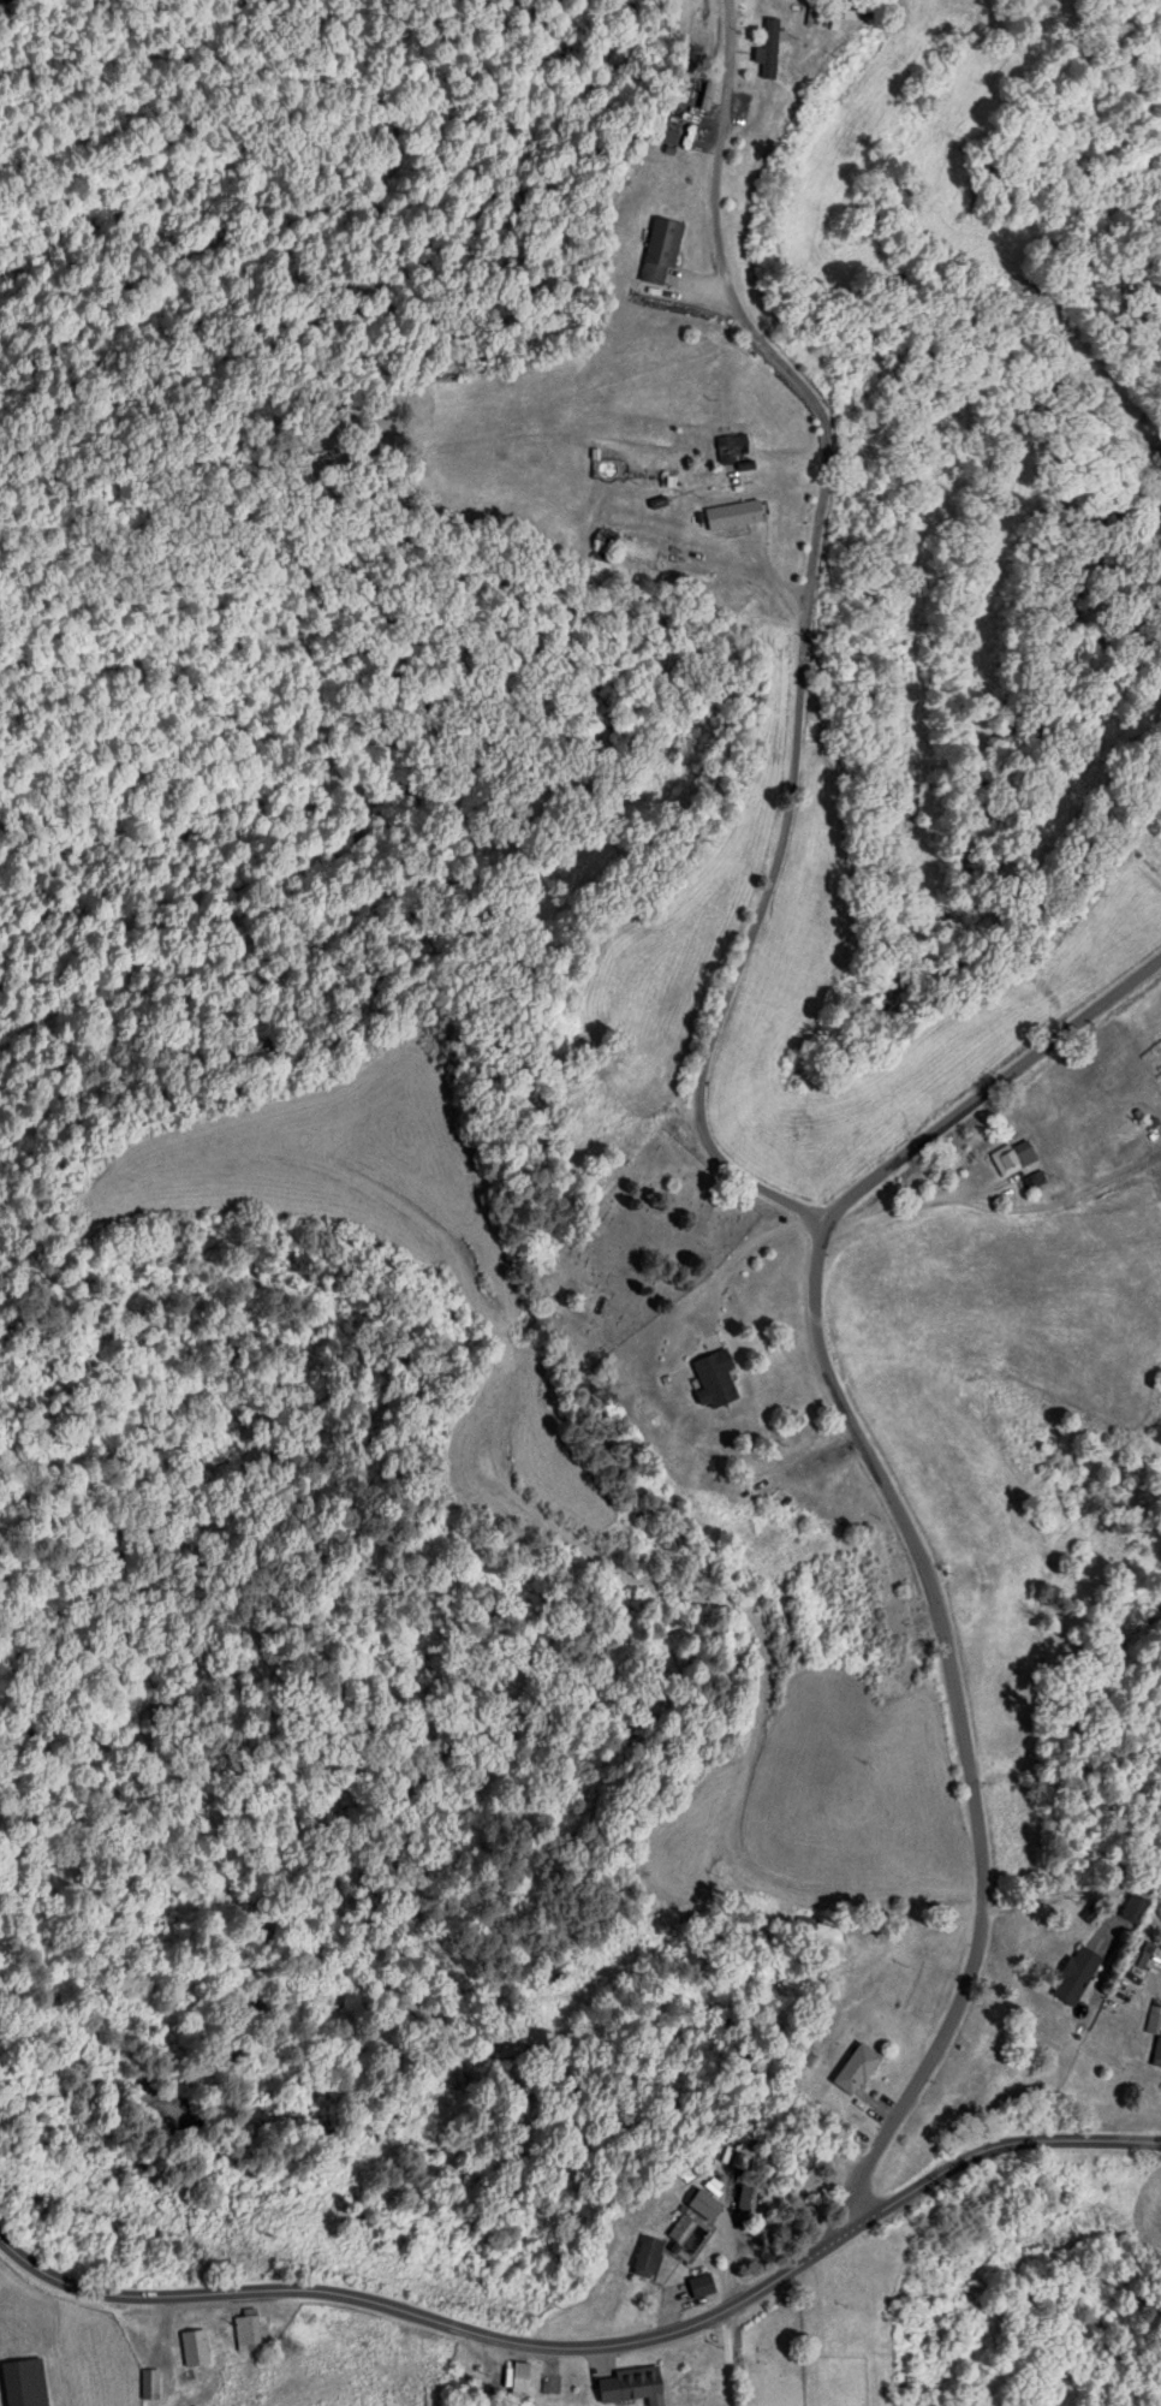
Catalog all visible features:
building: (773, 51)
building: (707, 94)
building: (669, 135)
building: (662, 249)
building: (733, 445)
building: (734, 512)
building: (607, 539)
road: (818, 634)
building: (1053, 1142)
building: (1014, 1157)
road: (838, 1206)
building: (714, 1377)
road: (1041, 1560)
building: (1135, 1907)
road: (978, 1914)
building: (1076, 1974)
building: (1156, 2052)
building: (857, 2068)
road: (1000, 2143)
building: (704, 2205)
building: (681, 2228)
building: (648, 2257)
road: (792, 2268)
building: (702, 2285)
road: (144, 2295)
building: (248, 2329)
road: (513, 2340)
road: (269, 2345)
building: (195, 2346)
road: (722, 2357)
building: (519, 2376)
building: (24, 2382)
building: (150, 2382)
building: (629, 2383)

